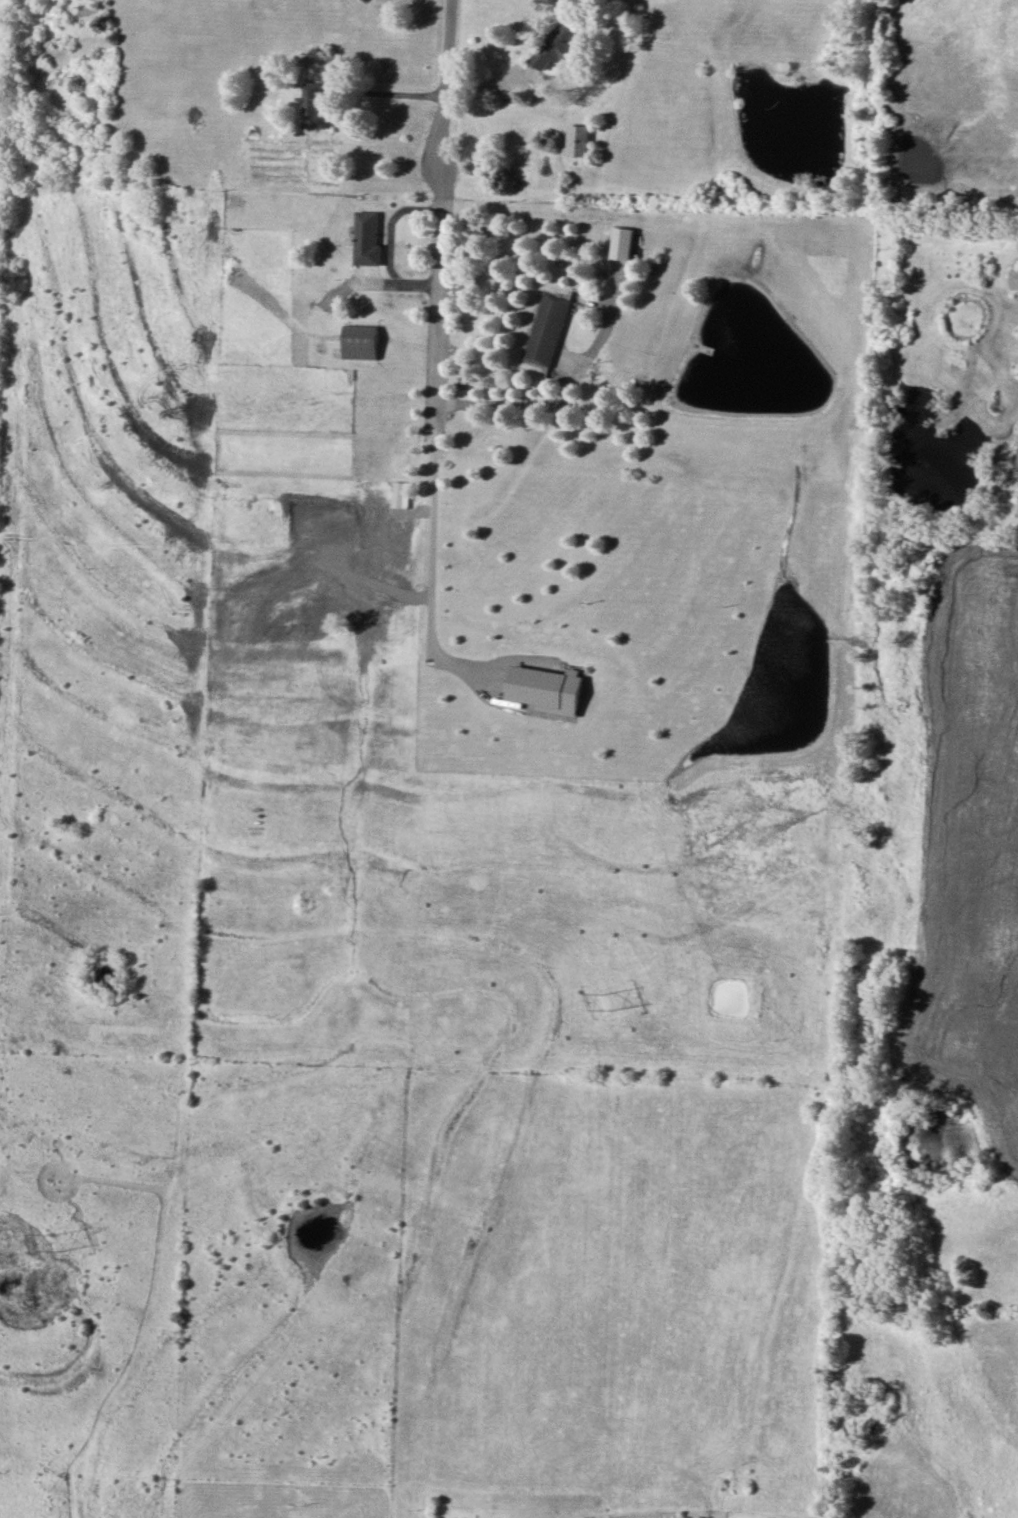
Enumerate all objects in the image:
building: (558, 45)
road: (391, 94)
building: (315, 106)
building: (577, 140)
road: (442, 215)
building: (369, 238)
building: (622, 243)
road: (394, 246)
building: (1014, 278)
building: (546, 329)
building: (362, 342)
road: (563, 393)
building: (401, 464)
road: (432, 565)
building: (547, 689)
power tower: (607, 1001)
power tower: (58, 1242)

